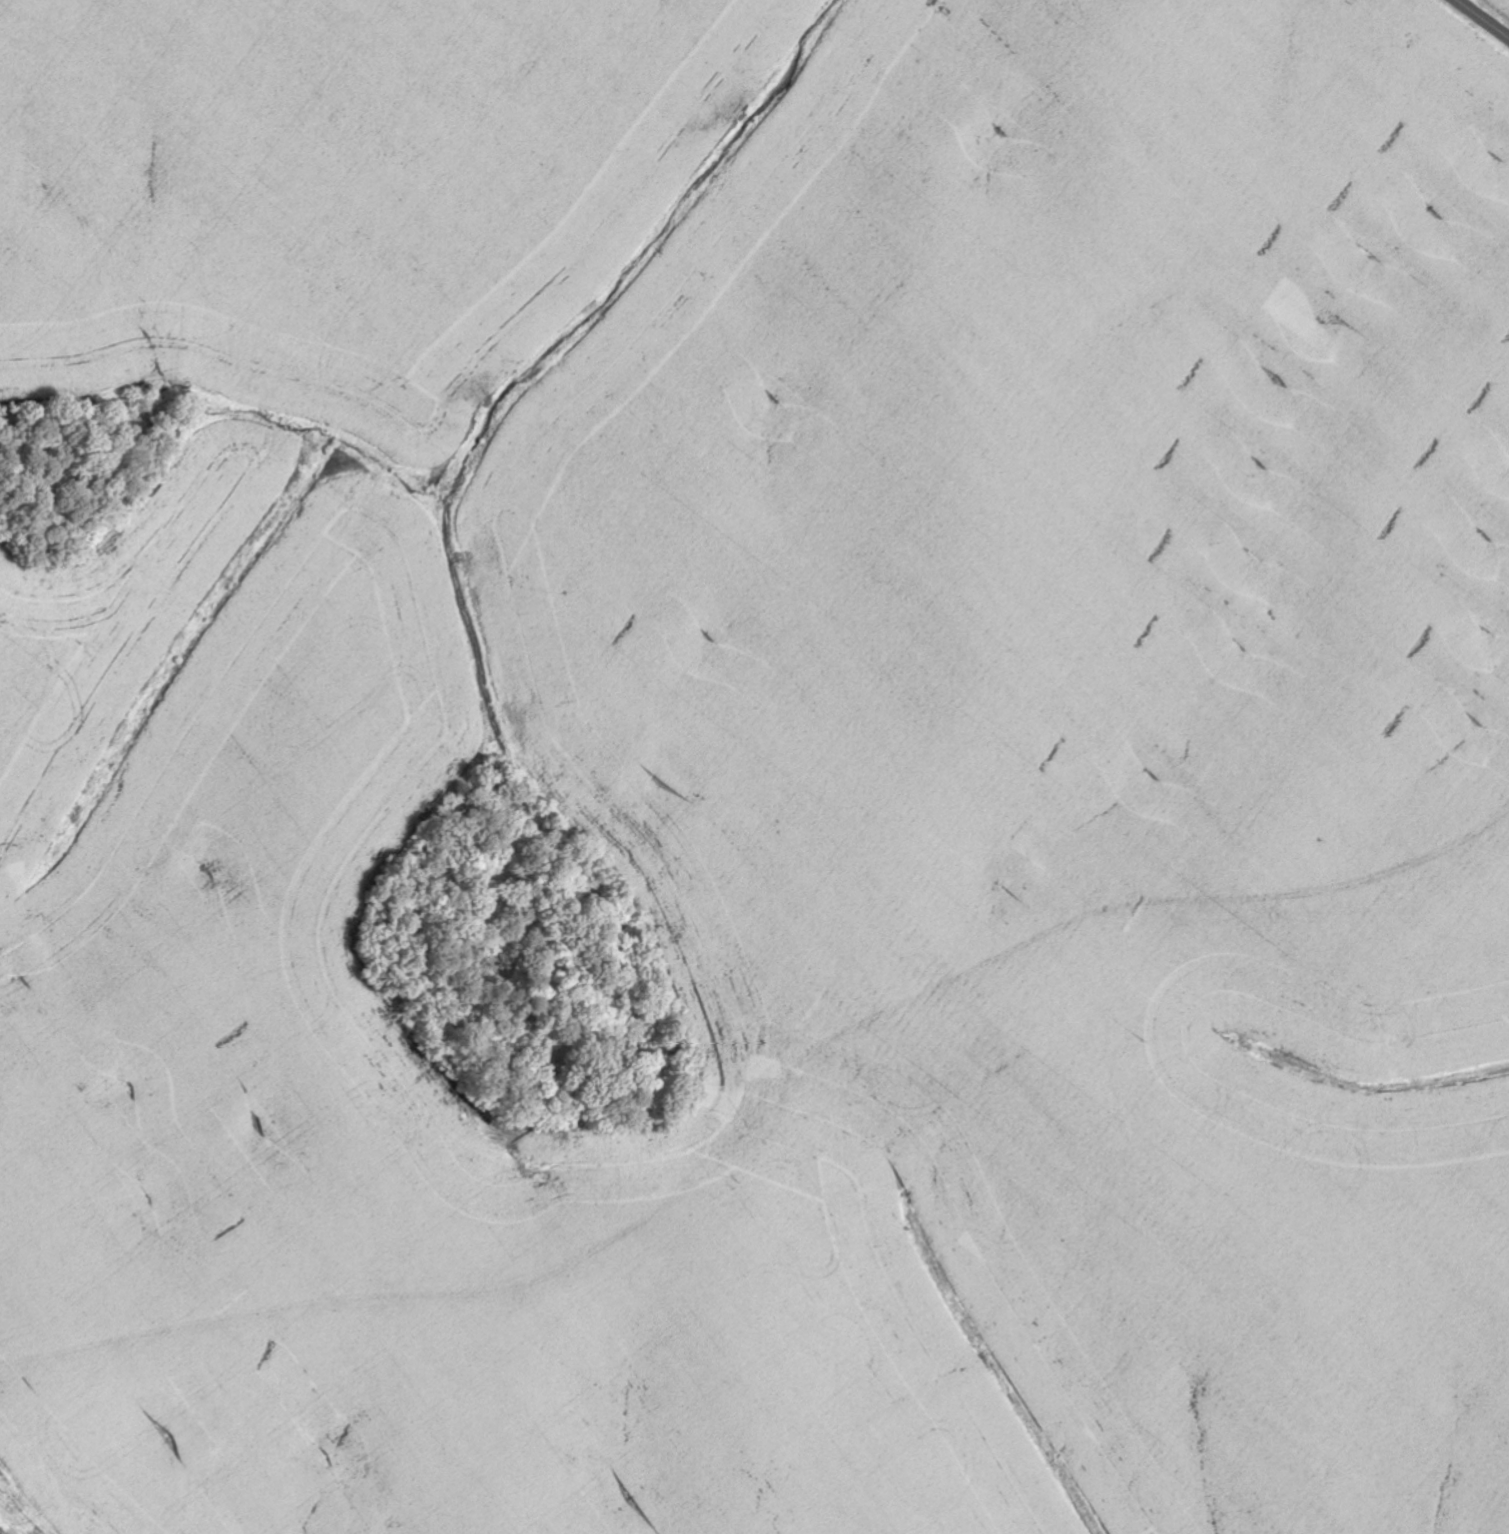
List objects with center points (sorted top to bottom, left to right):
road: (1482, 19)

